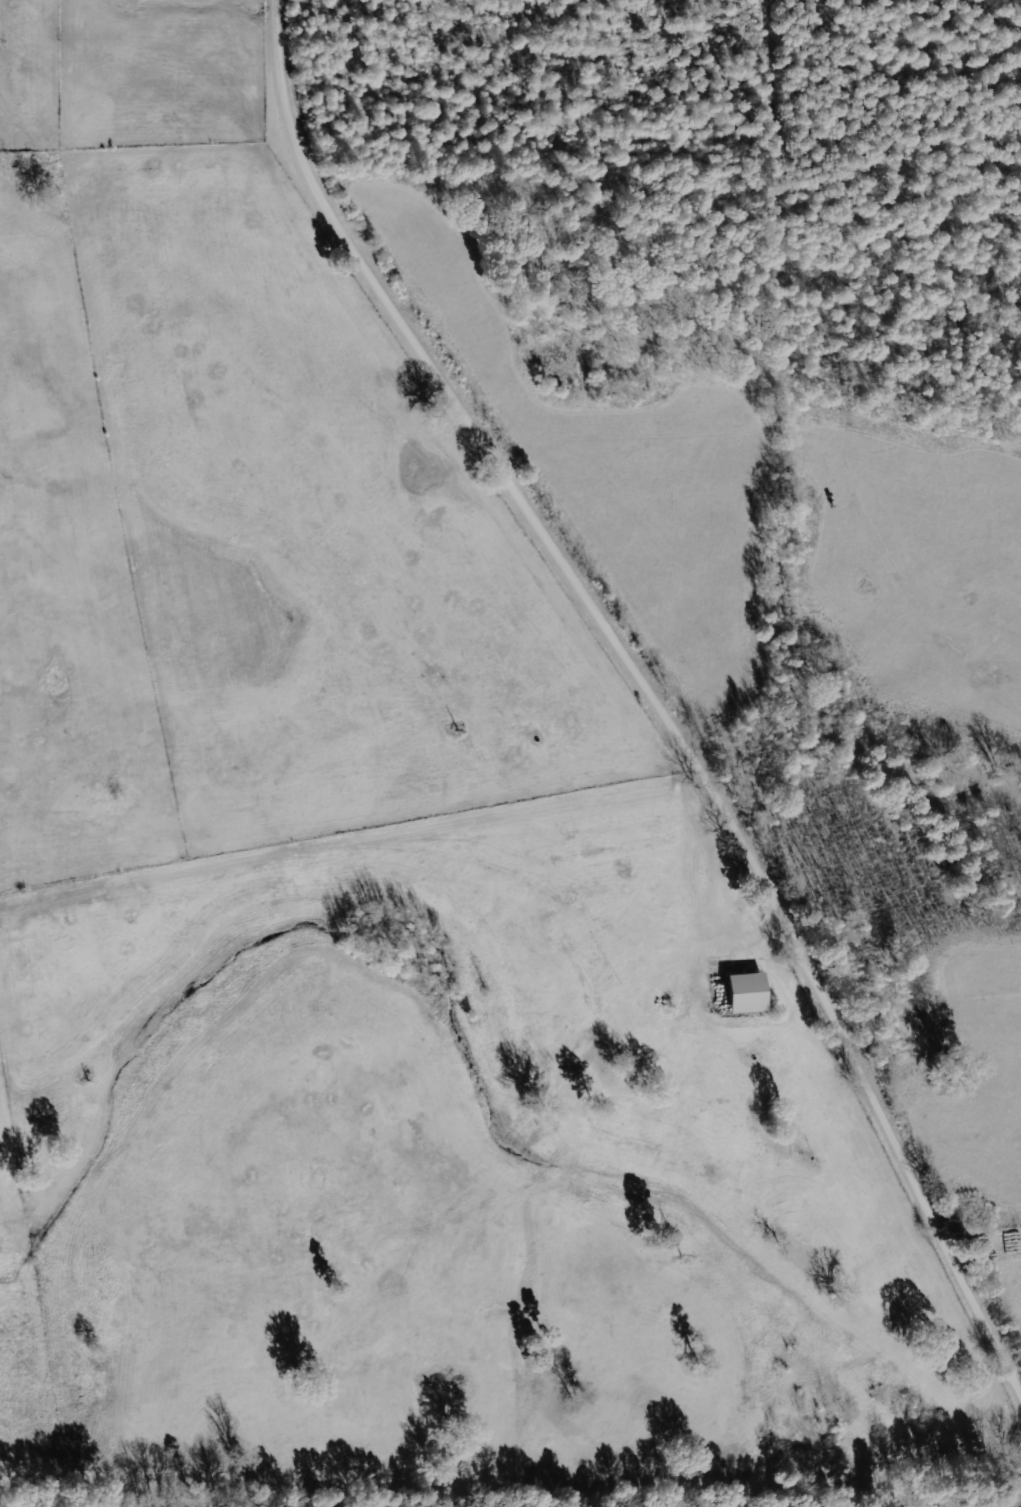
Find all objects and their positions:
road: (652, 685)
building: (741, 992)

